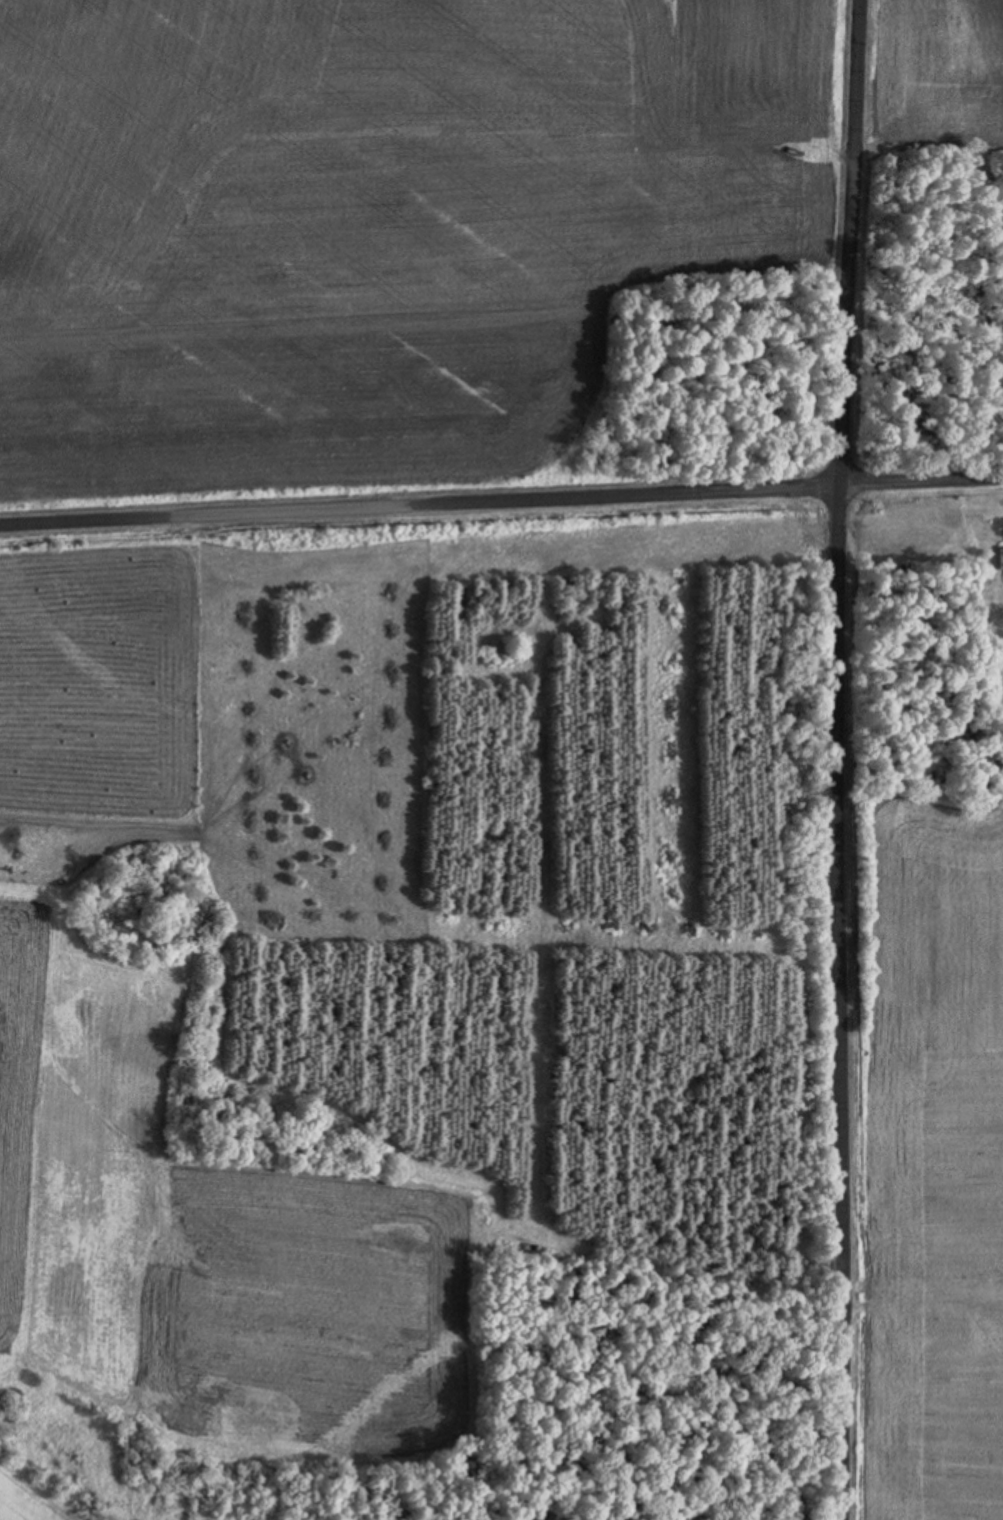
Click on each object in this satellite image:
road: (501, 495)
building: (999, 558)
road: (840, 759)

